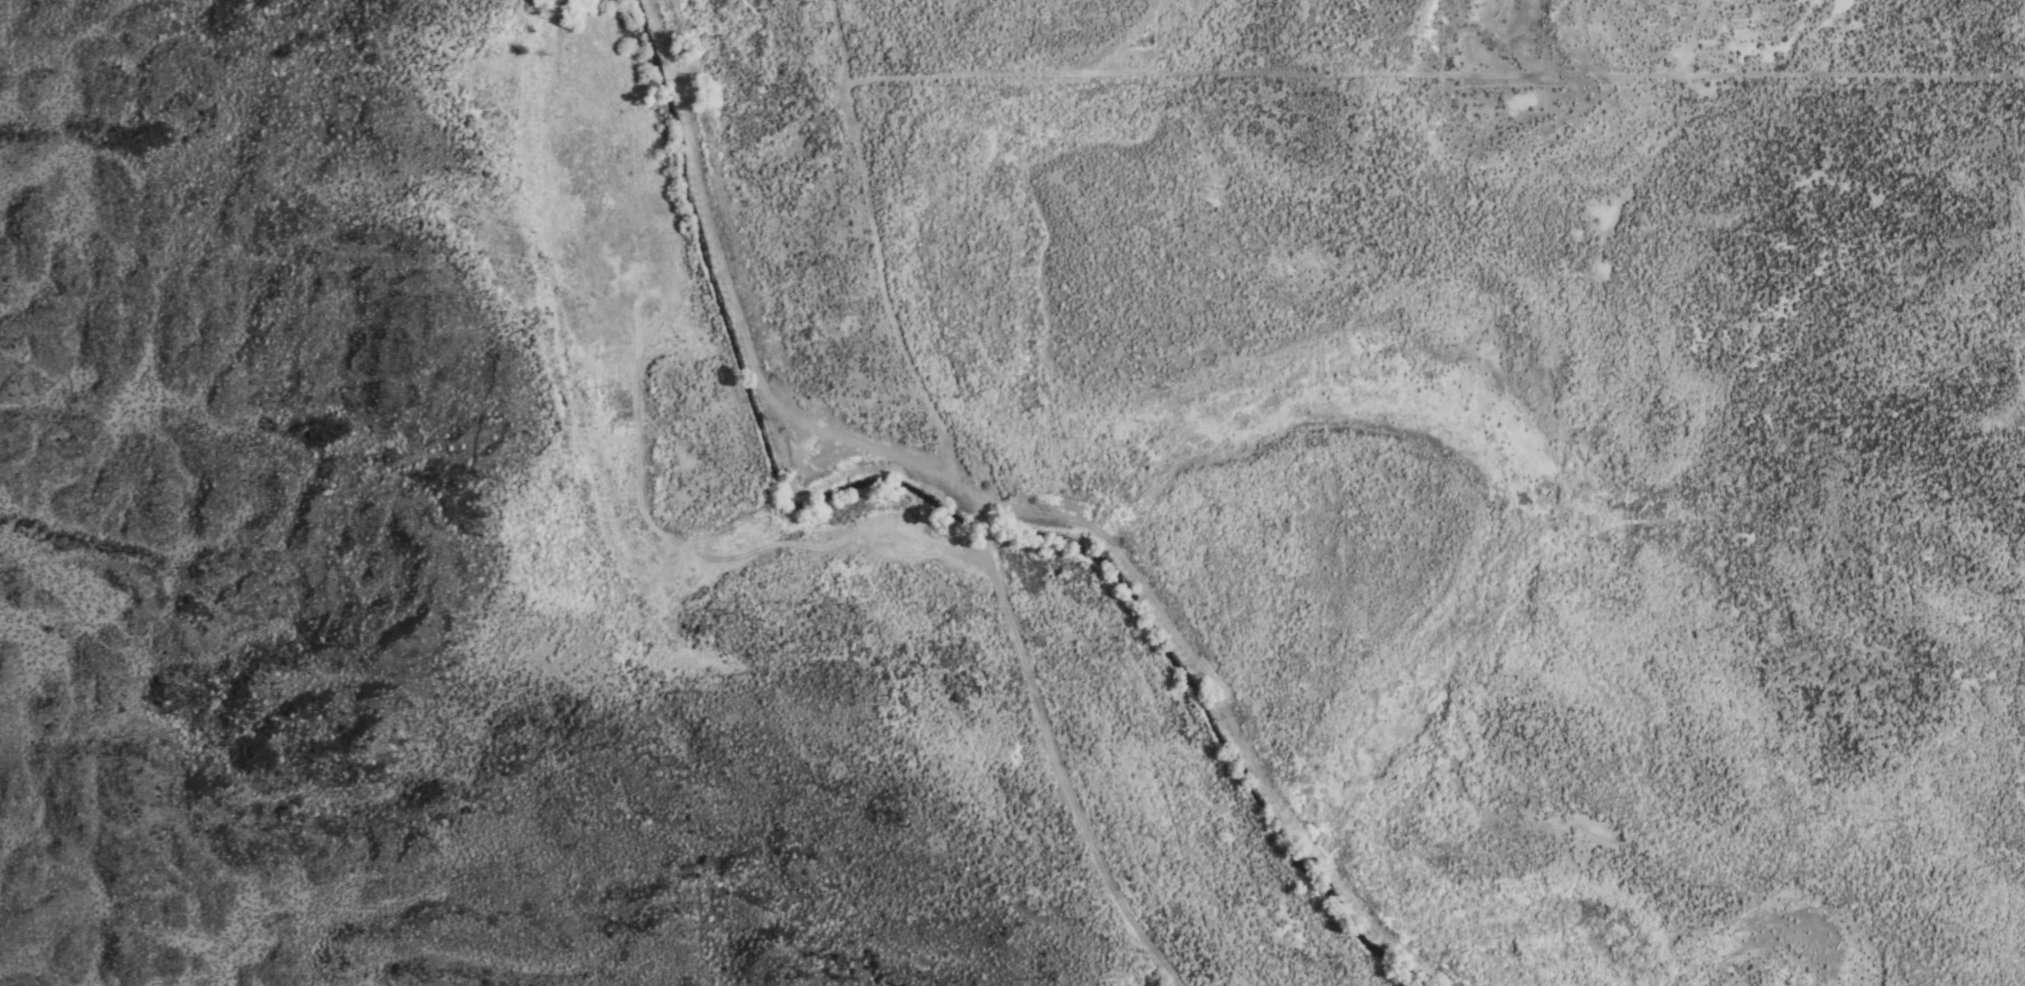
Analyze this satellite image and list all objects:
road: (887, 265)
road: (736, 309)
road: (983, 524)
road: (1061, 766)

